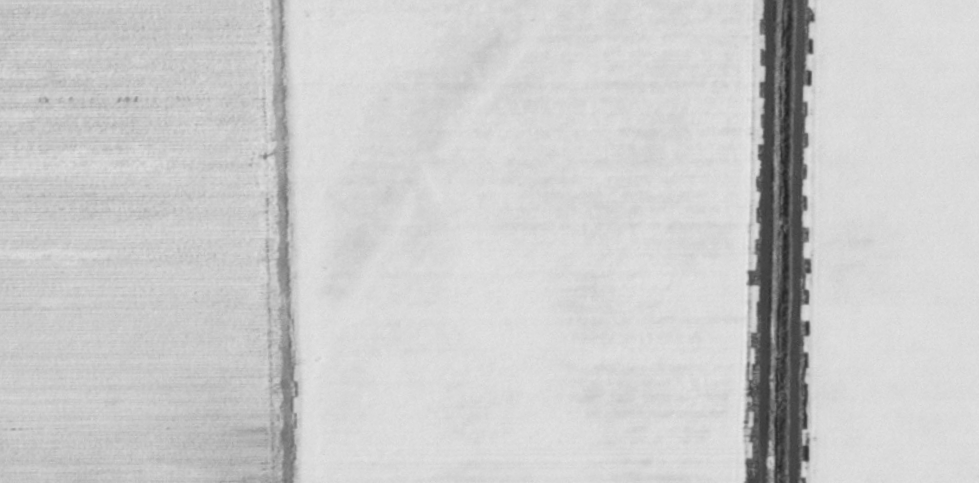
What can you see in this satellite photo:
road: (275, 142)
road: (303, 242)

